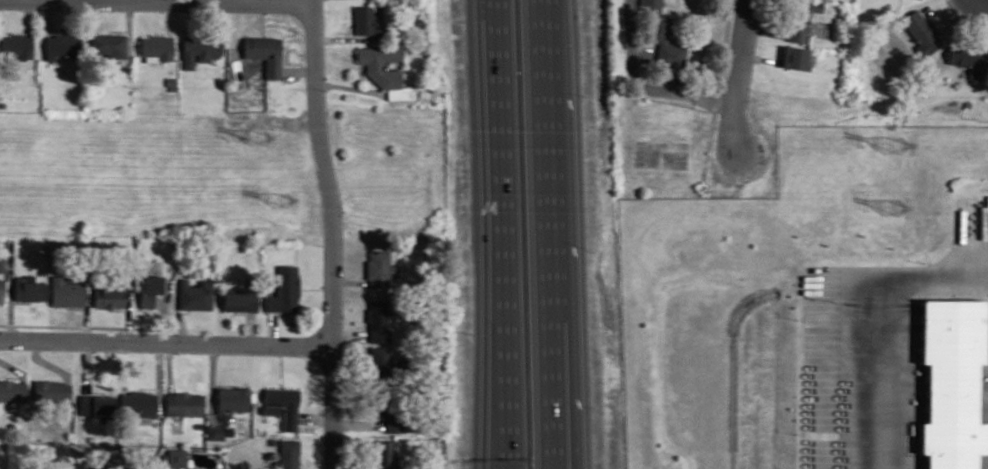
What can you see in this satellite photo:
road: (985, 0)
road: (208, 1)
road: (242, 1)
road: (213, 2)
road: (679, 2)
road: (936, 4)
road: (698, 7)
road: (49, 16)
building: (802, 17)
road: (168, 18)
road: (215, 18)
road: (261, 18)
building: (418, 20)
street lamp: (463, 20)
building: (363, 21)
road: (983, 24)
road: (129, 27)
road: (767, 28)
building: (918, 32)
building: (662, 34)
road: (342, 38)
building: (17, 44)
building: (108, 44)
building: (63, 45)
building: (155, 46)
building: (198, 48)
building: (263, 52)
road: (760, 57)
building: (794, 57)
building: (968, 59)
building: (379, 64)
road: (297, 71)
road: (738, 77)
road: (363, 78)
building: (170, 83)
street lamp: (724, 83)
road: (646, 84)
road: (350, 87)
street lamp: (325, 90)
street lamp: (587, 95)
road: (718, 95)
building: (2, 103)
power tower: (263, 140)
power tower: (892, 147)
power tower: (279, 198)
power tower: (901, 204)
road: (333, 233)
road: (505, 234)
road: (555, 234)
street lamp: (322, 244)
street lamp: (591, 251)
building: (1, 265)
building: (377, 267)
road: (350, 282)
building: (147, 287)
building: (27, 288)
road: (317, 288)
building: (1, 289)
road: (11, 289)
building: (284, 289)
building: (65, 292)
building: (194, 294)
building: (108, 295)
building: (239, 300)
road: (563, 302)
road: (864, 310)
road: (86, 312)
road: (127, 316)
road: (162, 319)
road: (182, 321)
building: (376, 321)
road: (86, 326)
road: (250, 328)
road: (272, 328)
street lamp: (469, 333)
road: (350, 335)
road: (166, 343)
road: (499, 351)
street lamp: (302, 356)
road: (45, 362)
building: (380, 364)
road: (281, 365)
road: (169, 366)
road: (12, 368)
road: (158, 379)
building: (948, 382)
road: (212, 383)
building: (48, 389)
building: (11, 390)
building: (231, 398)
building: (136, 402)
building: (183, 403)
building: (93, 404)
building: (281, 404)
street lamp: (597, 407)
building: (388, 409)
road: (315, 417)
road: (357, 423)
building: (198, 425)
building: (214, 431)
building: (270, 440)
building: (283, 455)
building: (383, 455)
building: (175, 457)
building: (122, 468)

